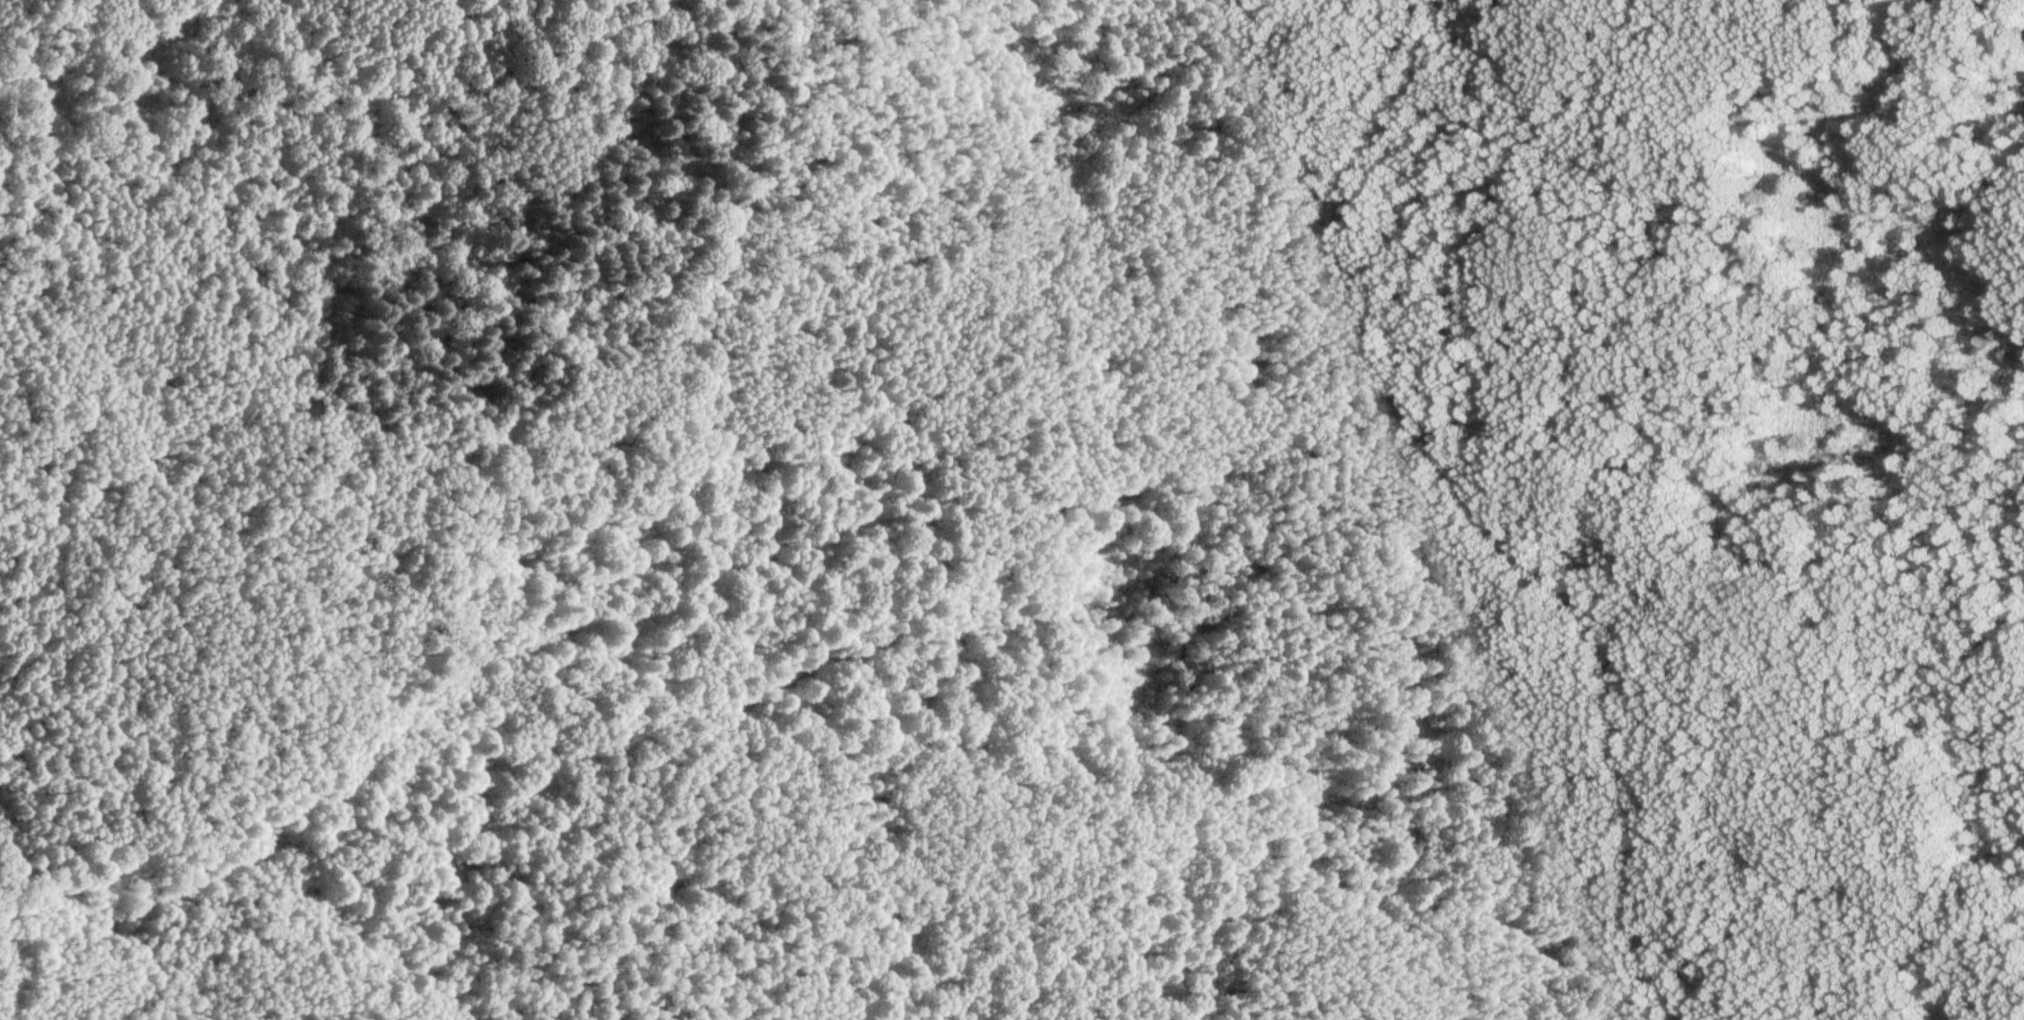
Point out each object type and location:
road: (1496, 503)

